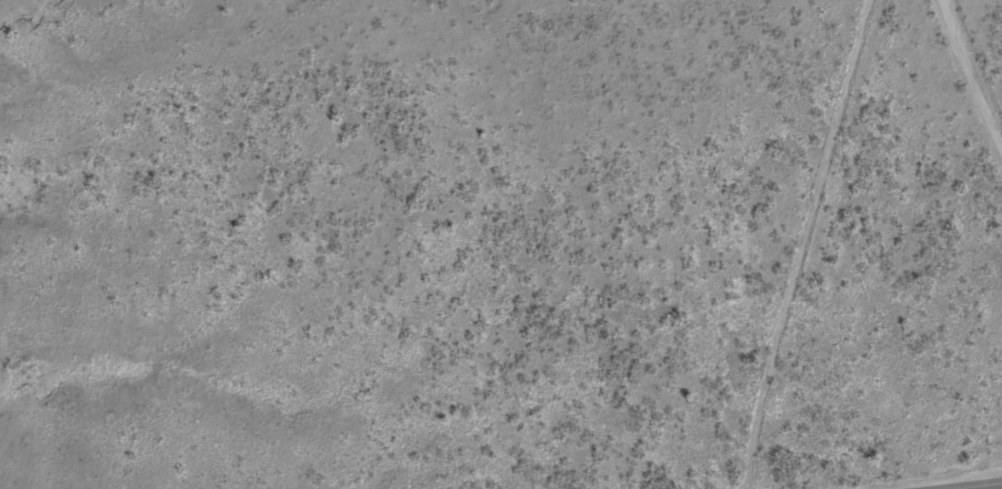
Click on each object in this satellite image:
road: (942, 137)
road: (973, 485)

